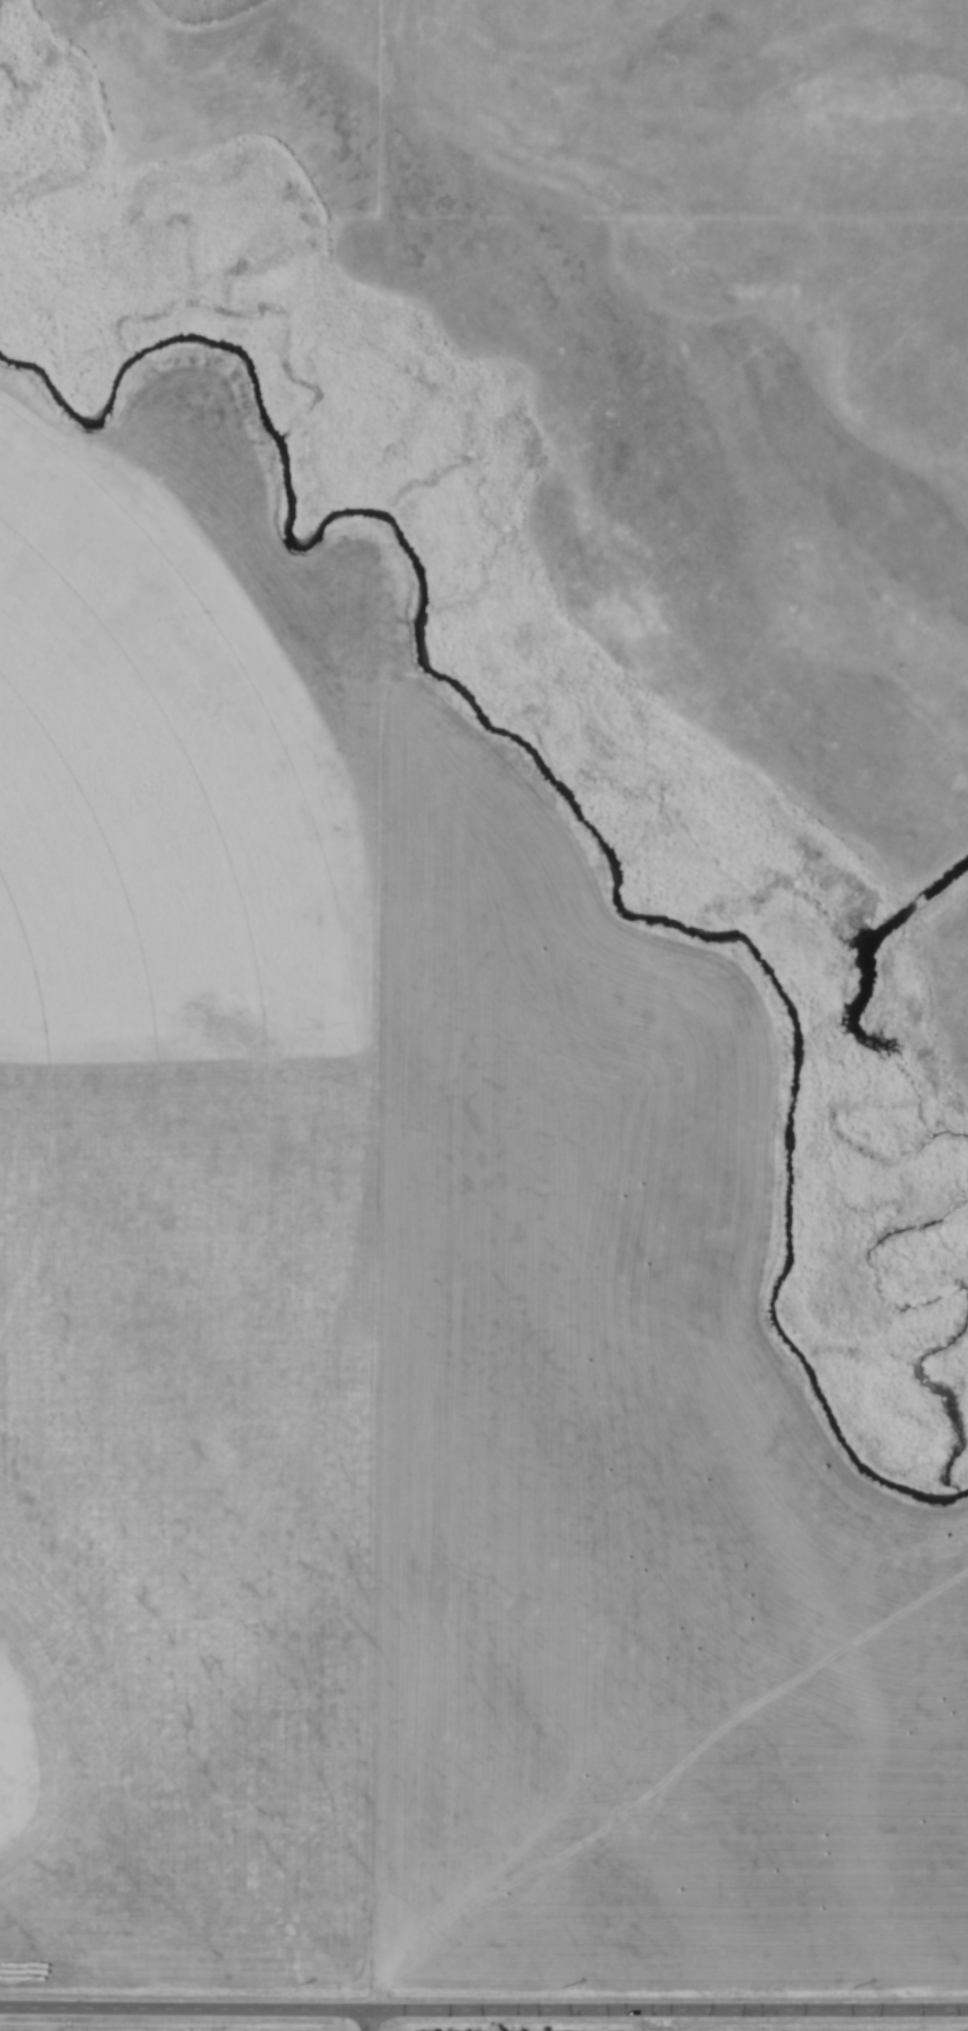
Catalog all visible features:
road: (483, 2007)
road: (372, 2019)

